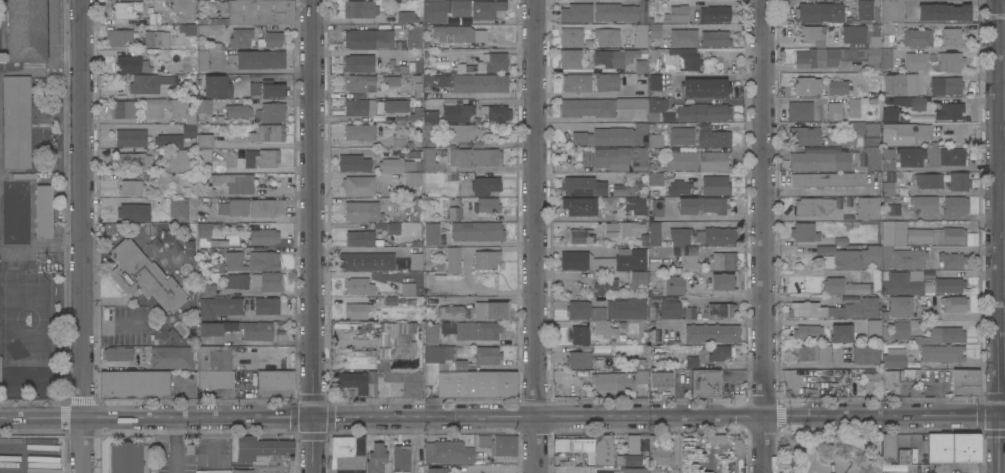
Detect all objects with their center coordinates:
road: (589, 0)
building: (643, 6)
building: (458, 7)
building: (360, 8)
building: (487, 8)
building: (126, 10)
building: (868, 10)
building: (435, 11)
building: (615, 11)
building: (255, 12)
building: (576, 12)
building: (819, 12)
building: (943, 12)
building: (679, 13)
building: (714, 13)
building: (405, 17)
building: (154, 18)
road: (106, 25)
road: (712, 25)
building: (877, 27)
building: (186, 28)
building: (209, 29)
building: (654, 30)
building: (25, 31)
building: (458, 33)
building: (640, 35)
building: (414, 36)
building: (571, 36)
building: (607, 36)
building: (952, 36)
building: (120, 37)
building: (240, 37)
building: (684, 37)
building: (917, 37)
building: (155, 38)
building: (368, 38)
building: (715, 38)
building: (271, 39)
building: (214, 45)
building: (814, 48)
building: (869, 55)
building: (614, 57)
building: (259, 58)
building: (571, 58)
building: (678, 58)
building: (202, 59)
building: (497, 61)
building: (917, 61)
building: (950, 61)
building: (359, 63)
building: (133, 64)
building: (641, 65)
building: (463, 66)
building: (190, 79)
building: (392, 80)
building: (607, 81)
building: (666, 81)
building: (150, 82)
building: (359, 82)
building: (473, 82)
building: (577, 82)
building: (898, 83)
building: (655, 84)
building: (946, 85)
building: (215, 86)
building: (705, 86)
building: (807, 86)
building: (837, 87)
building: (254, 88)
building: (272, 88)
building: (417, 89)
building: (912, 102)
building: (396, 105)
building: (599, 106)
building: (164, 107)
building: (360, 107)
building: (656, 107)
building: (854, 107)
building: (204, 108)
building: (124, 109)
building: (238, 110)
building: (800, 110)
building: (456, 111)
building: (835, 111)
building: (949, 111)
building: (271, 112)
building: (496, 112)
building: (703, 112)
building: (890, 113)
building: (414, 114)
building: (430, 116)
building: (190, 118)
building: (16, 122)
road: (581, 124)
road: (128, 126)
building: (189, 130)
building: (360, 131)
building: (461, 132)
building: (268, 133)
building: (904, 133)
building: (430, 134)
building: (680, 134)
building: (612, 135)
building: (805, 135)
building: (856, 135)
building: (713, 136)
building: (131, 137)
building: (654, 139)
building: (168, 140)
building: (204, 140)
building: (398, 140)
building: (485, 154)
building: (414, 155)
building: (911, 156)
building: (945, 156)
building: (266, 157)
building: (459, 157)
building: (873, 157)
building: (616, 158)
building: (428, 159)
building: (888, 159)
building: (132, 160)
building: (180, 160)
building: (681, 160)
building: (713, 160)
building: (826, 161)
building: (354, 162)
building: (204, 166)
road: (1002, 166)
building: (404, 169)
building: (656, 178)
building: (827, 179)
building: (929, 180)
building: (959, 181)
building: (230, 182)
building: (585, 184)
building: (358, 185)
building: (485, 185)
building: (715, 185)
building: (131, 187)
building: (678, 187)
building: (893, 188)
building: (623, 189)
building: (204, 190)
road: (815, 191)
building: (202, 202)
building: (924, 203)
building: (487, 204)
building: (956, 204)
building: (579, 205)
building: (702, 205)
building: (813, 205)
building: (238, 206)
road: (765, 206)
building: (266, 207)
building: (609, 207)
building: (657, 207)
building: (867, 207)
road: (999, 207)
building: (17, 208)
road: (83, 208)
road: (314, 208)
building: (415, 208)
building: (634, 208)
building: (178, 209)
building: (894, 209)
building: (44, 210)
building: (362, 210)
building: (132, 212)
building: (455, 213)
building: (394, 228)
building: (631, 228)
building: (611, 229)
building: (477, 231)
building: (804, 231)
building: (654, 232)
building: (892, 232)
building: (432, 233)
building: (202, 235)
building: (580, 235)
building: (715, 235)
building: (919, 235)
building: (950, 235)
building: (263, 236)
road: (537, 236)
building: (680, 236)
building: (360, 238)
building: (643, 239)
building: (218, 243)
building: (859, 256)
building: (909, 258)
building: (453, 259)
building: (486, 259)
building: (952, 259)
building: (234, 260)
building: (263, 260)
building: (415, 260)
building: (604, 260)
building: (366, 261)
building: (826, 261)
building: (689, 262)
building: (721, 262)
building: (438, 266)
building: (864, 275)
building: (144, 276)
building: (638, 279)
building: (237, 280)
building: (665, 280)
building: (270, 281)
building: (722, 281)
building: (902, 282)
building: (949, 284)
building: (606, 285)
building: (844, 285)
building: (359, 286)
building: (926, 286)
building: (408, 288)
building: (207, 289)
building: (389, 300)
building: (401, 301)
building: (410, 302)
building: (954, 303)
building: (266, 305)
building: (900, 305)
building: (219, 306)
building: (627, 307)
building: (492, 309)
building: (671, 309)
building: (720, 309)
building: (835, 309)
building: (357, 310)
building: (921, 311)
building: (454, 312)
building: (652, 313)
road: (274, 315)
building: (591, 316)
building: (446, 327)
building: (211, 328)
building: (256, 330)
building: (477, 330)
building: (873, 330)
building: (901, 330)
building: (712, 332)
building: (808, 332)
building: (841, 333)
building: (579, 334)
building: (946, 334)
building: (657, 335)
building: (399, 338)
building: (681, 338)
building: (434, 350)
building: (719, 352)
building: (812, 352)
building: (118, 353)
building: (942, 353)
building: (866, 354)
building: (487, 355)
building: (216, 356)
building: (170, 357)
building: (894, 358)
building: (578, 359)
building: (691, 362)
building: (639, 363)
road: (806, 363)
building: (460, 365)
building: (0, 369)
building: (384, 371)
building: (908, 374)
building: (29, 378)
building: (214, 378)
building: (661, 378)
building: (275, 380)
building: (618, 380)
building: (890, 380)
building: (353, 381)
building: (705, 382)
building: (870, 382)
building: (965, 382)
building: (472, 383)
building: (134, 384)
road: (883, 413)
road: (1002, 414)
road: (540, 415)
road: (198, 417)
road: (41, 418)
building: (716, 438)
building: (484, 442)
road: (766, 443)
road: (1000, 443)
road: (83, 445)
road: (174, 445)
road: (315, 445)
building: (504, 445)
building: (11, 446)
building: (953, 446)
building: (262, 447)
building: (589, 447)
building: (658, 450)
building: (893, 450)
building: (631, 451)
building: (448, 452)
building: (348, 454)
building: (690, 456)
building: (128, 457)
building: (54, 458)
building: (376, 458)
building: (400, 459)
building: (914, 468)
road: (559, 469)
building: (620, 469)
building: (208, 470)
building: (436, 470)
building: (654, 470)
building: (240, 471)

